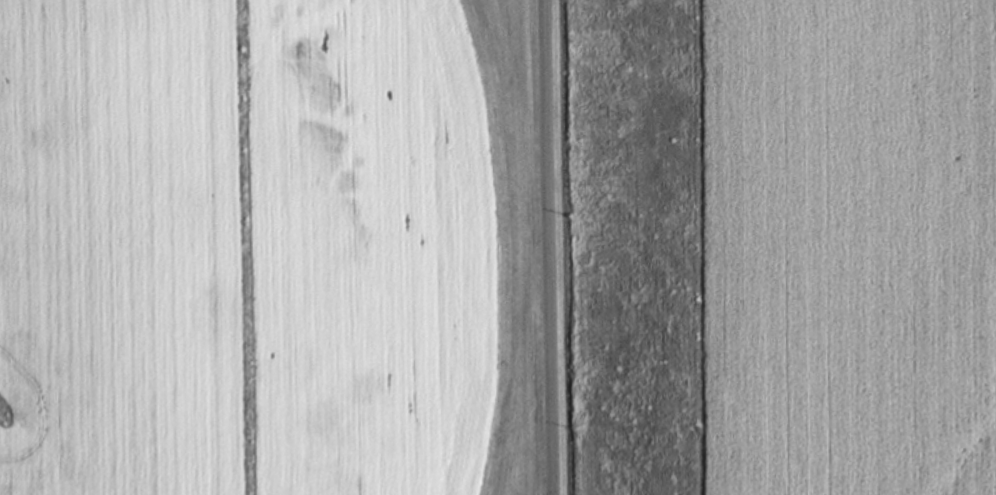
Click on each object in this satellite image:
road: (533, 247)

